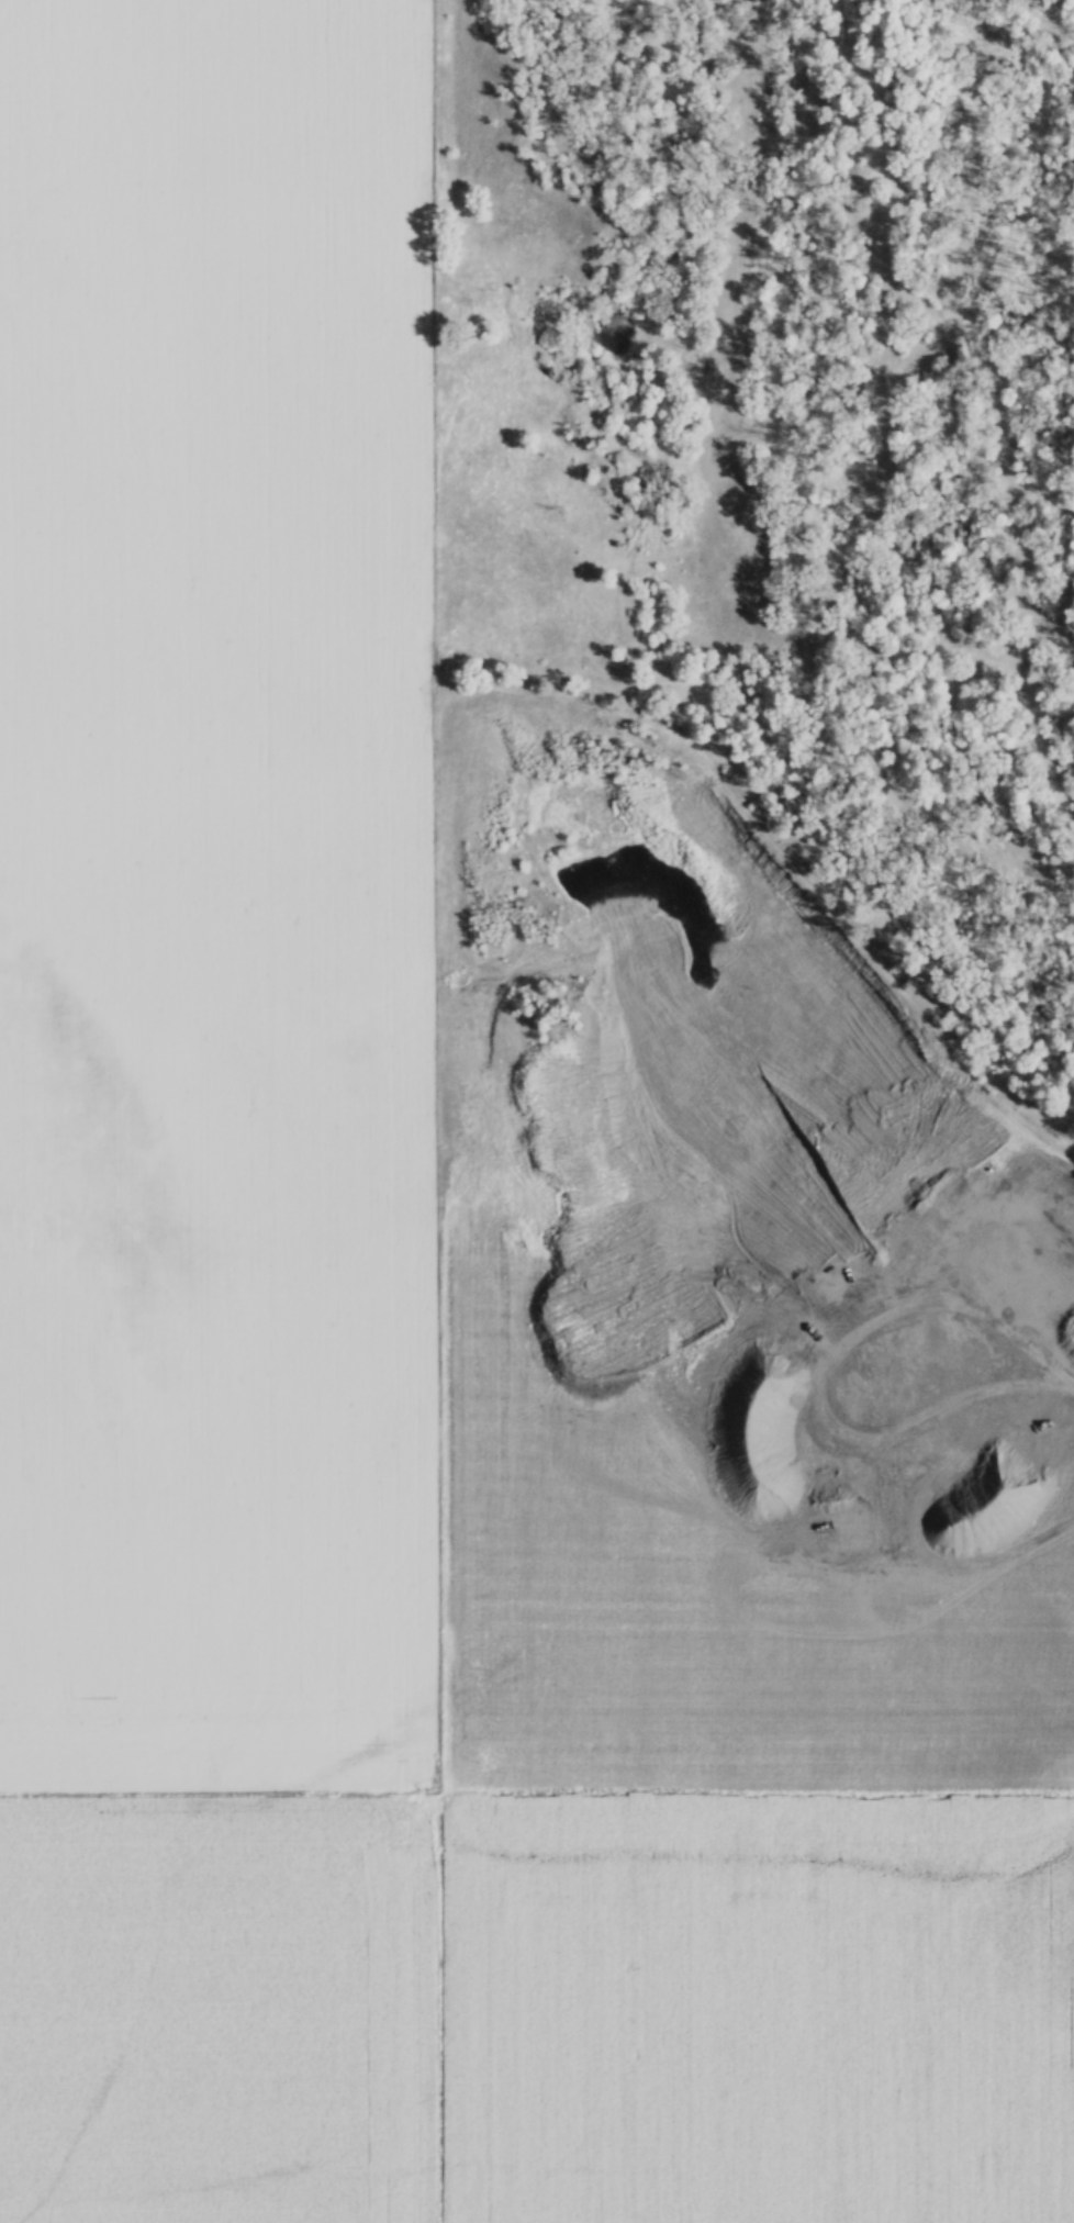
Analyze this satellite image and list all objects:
road: (1043, 1295)

